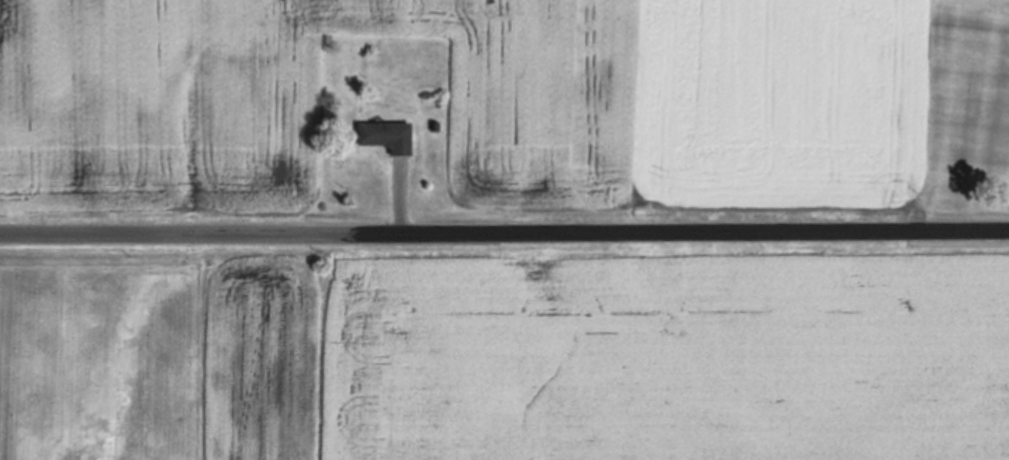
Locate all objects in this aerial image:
crop: (474, 100)
building: (386, 134)
road: (504, 232)

